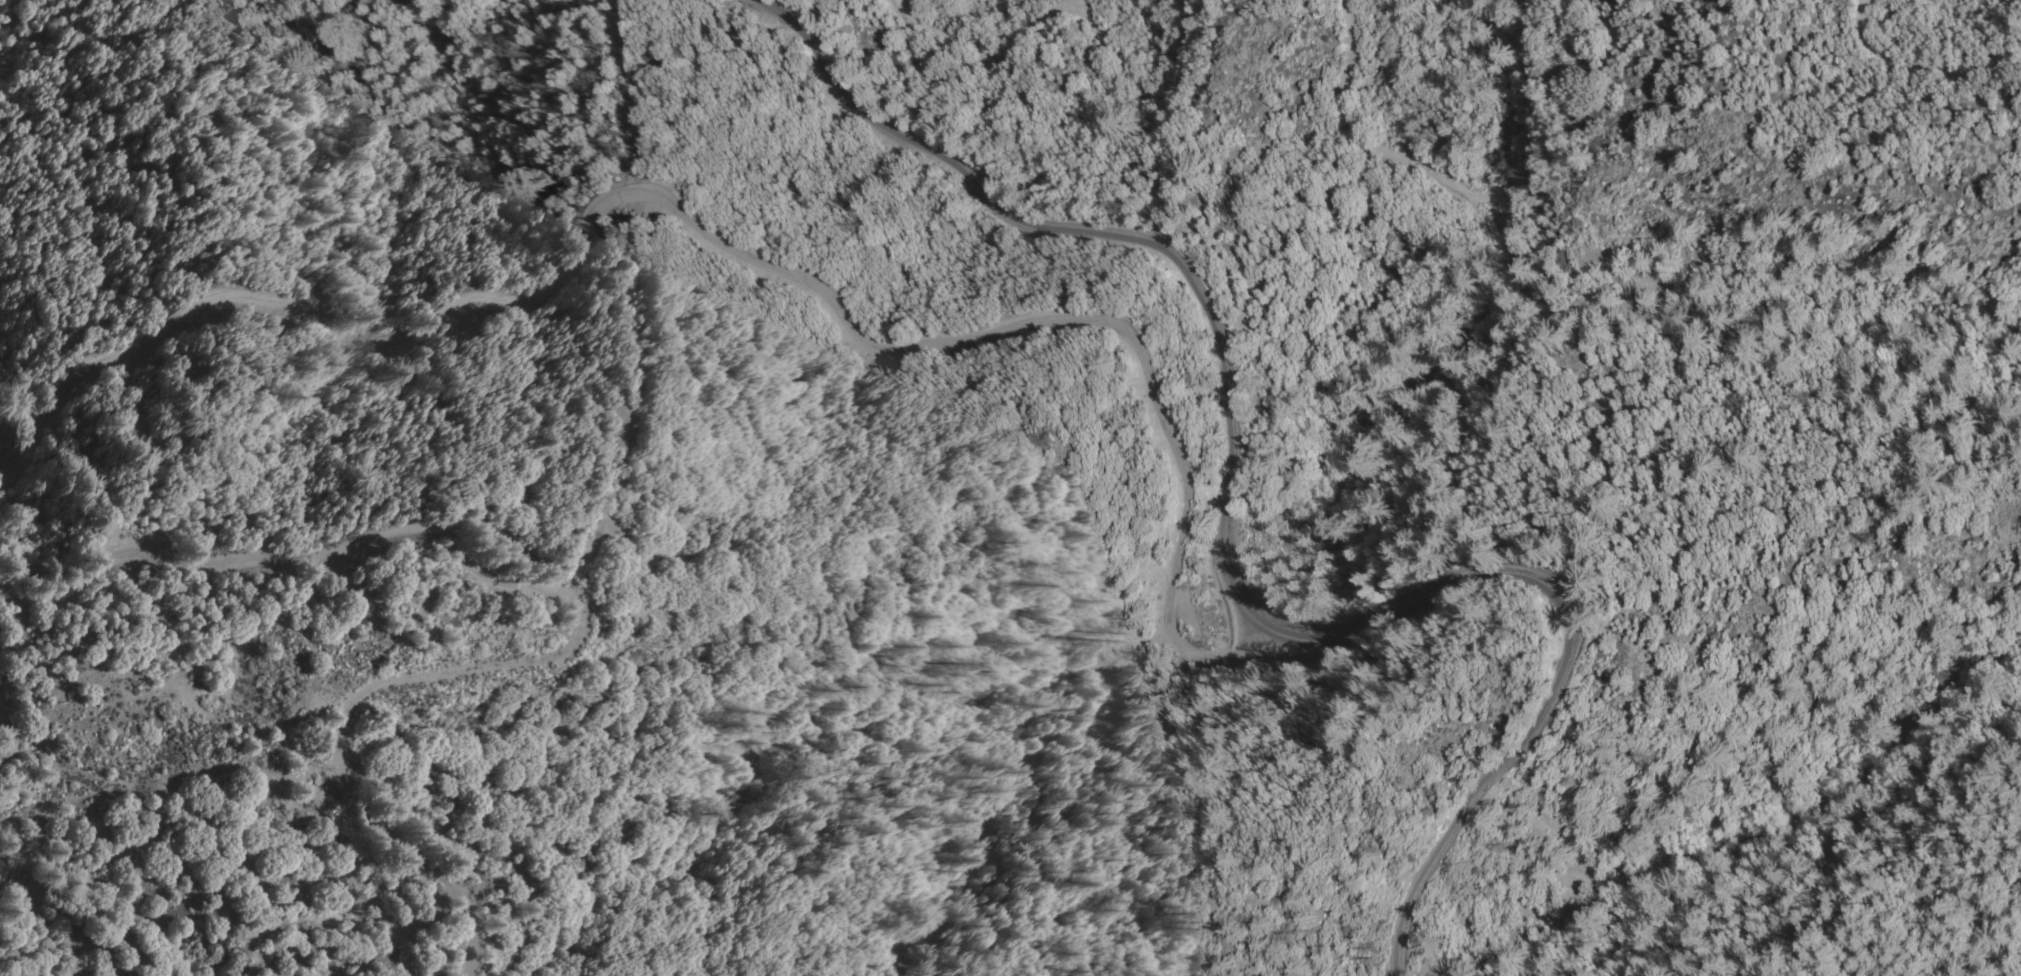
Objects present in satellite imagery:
road: (1081, 16)
building: (647, 59)
storage tank: (647, 59)
road: (1920, 67)
road: (1450, 192)
road: (729, 254)
road: (910, 500)
road: (1215, 557)
road: (573, 601)
parking lot: (1182, 609)

